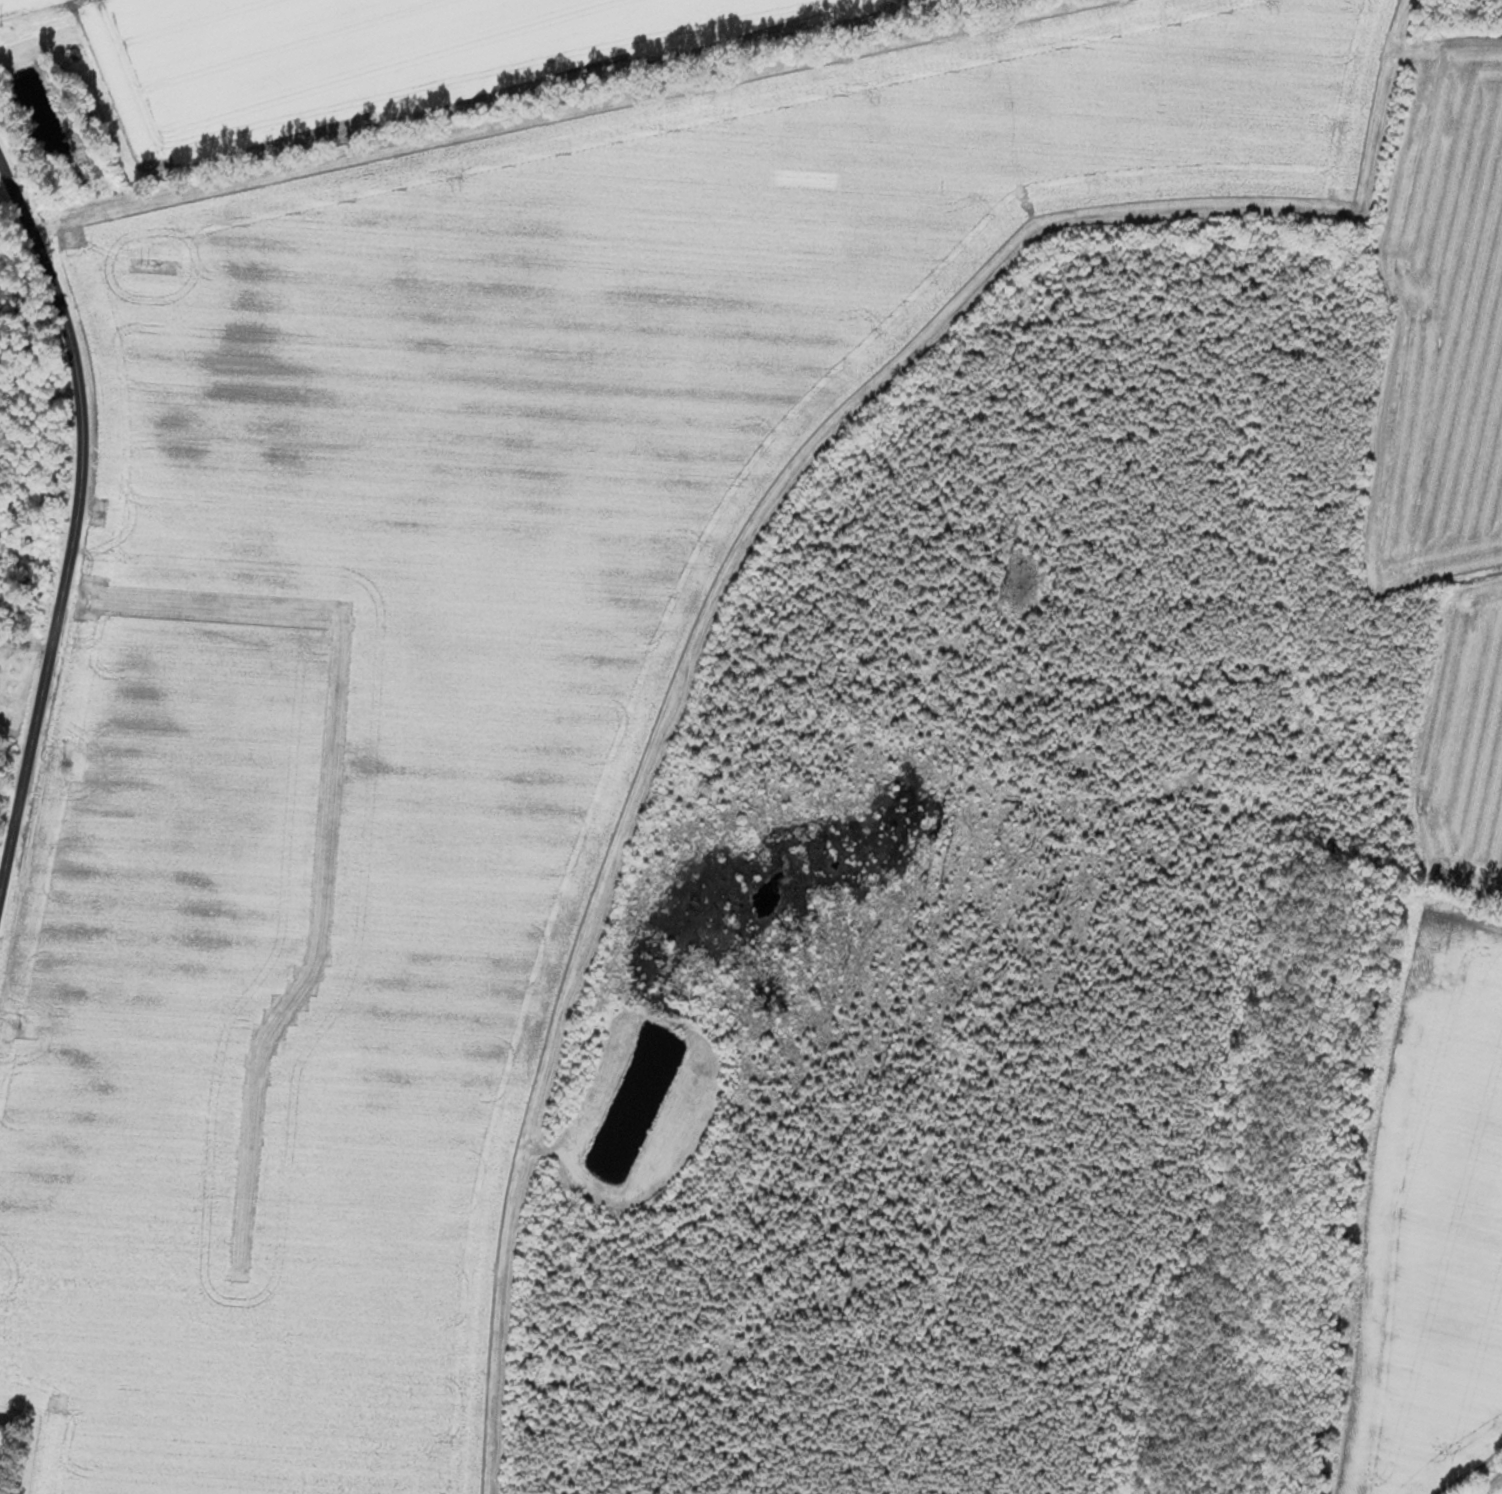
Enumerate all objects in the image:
road: (77, 529)

